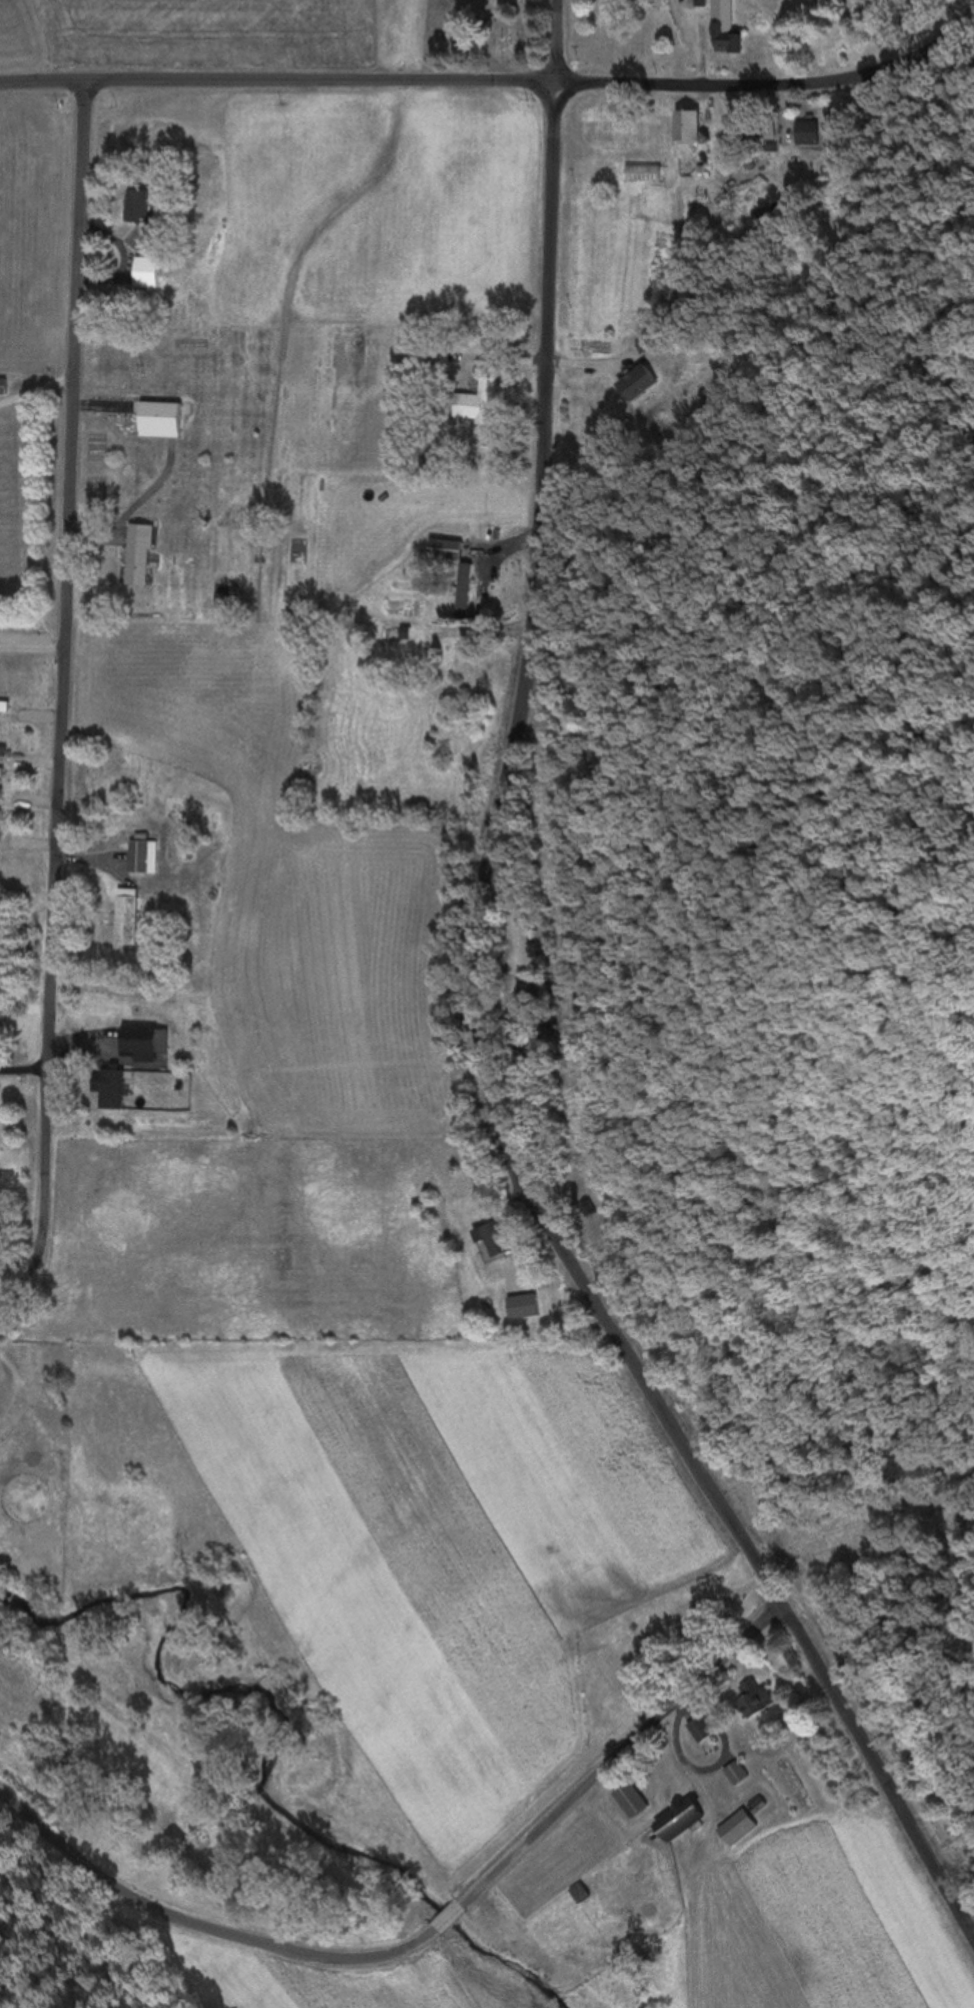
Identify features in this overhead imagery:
park: (482, 35)
road: (553, 44)
road: (276, 87)
road: (770, 88)
road: (30, 648)
road: (58, 703)
road: (486, 1077)
road: (429, 1933)

